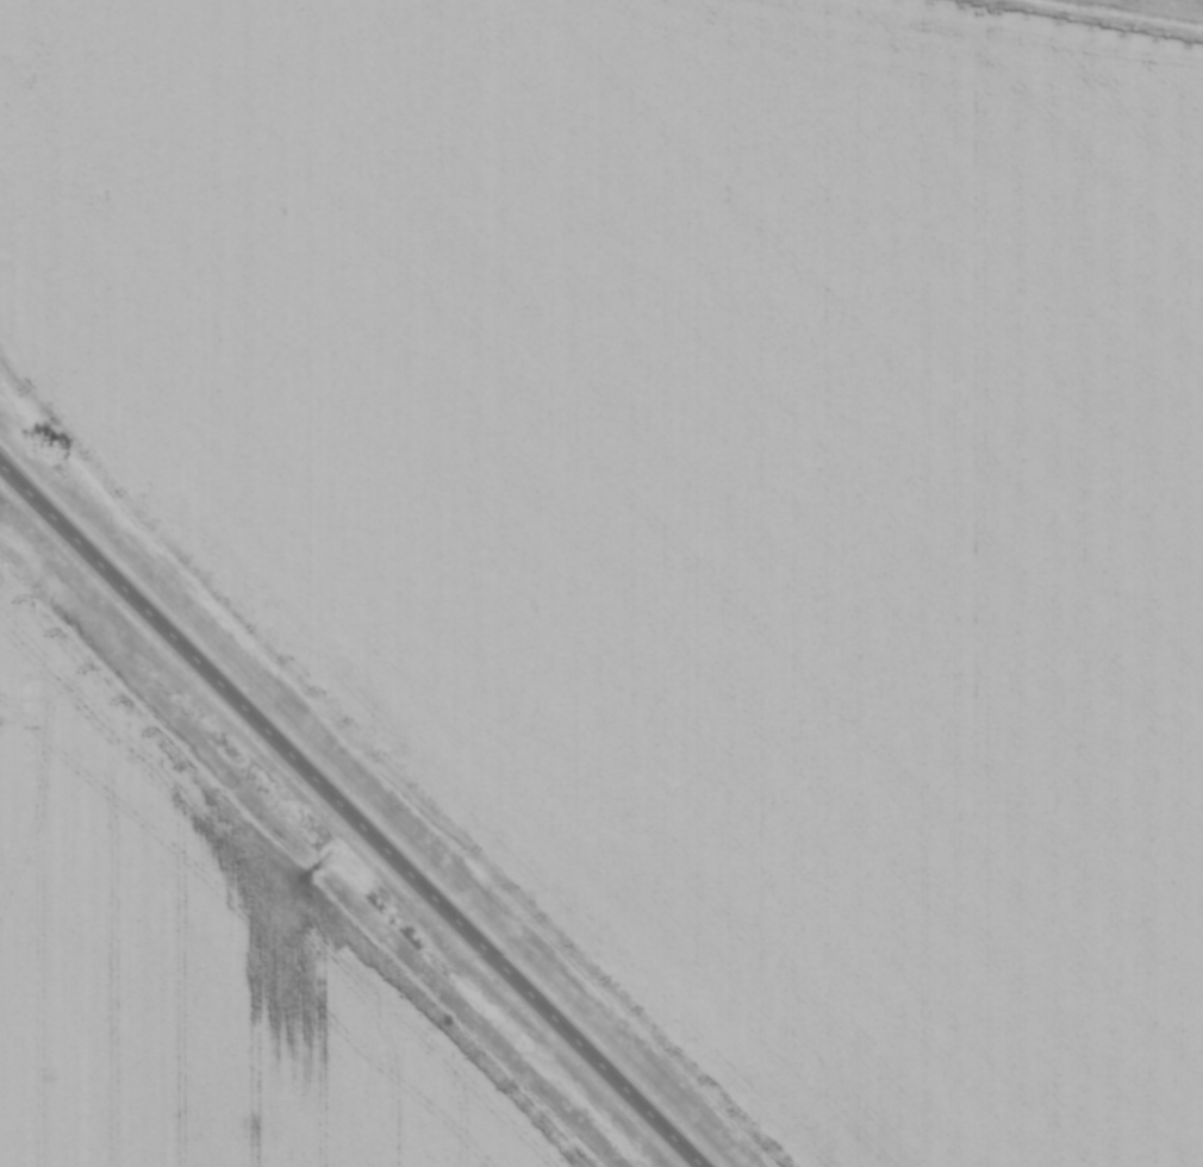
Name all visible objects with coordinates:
road: (351, 813)

